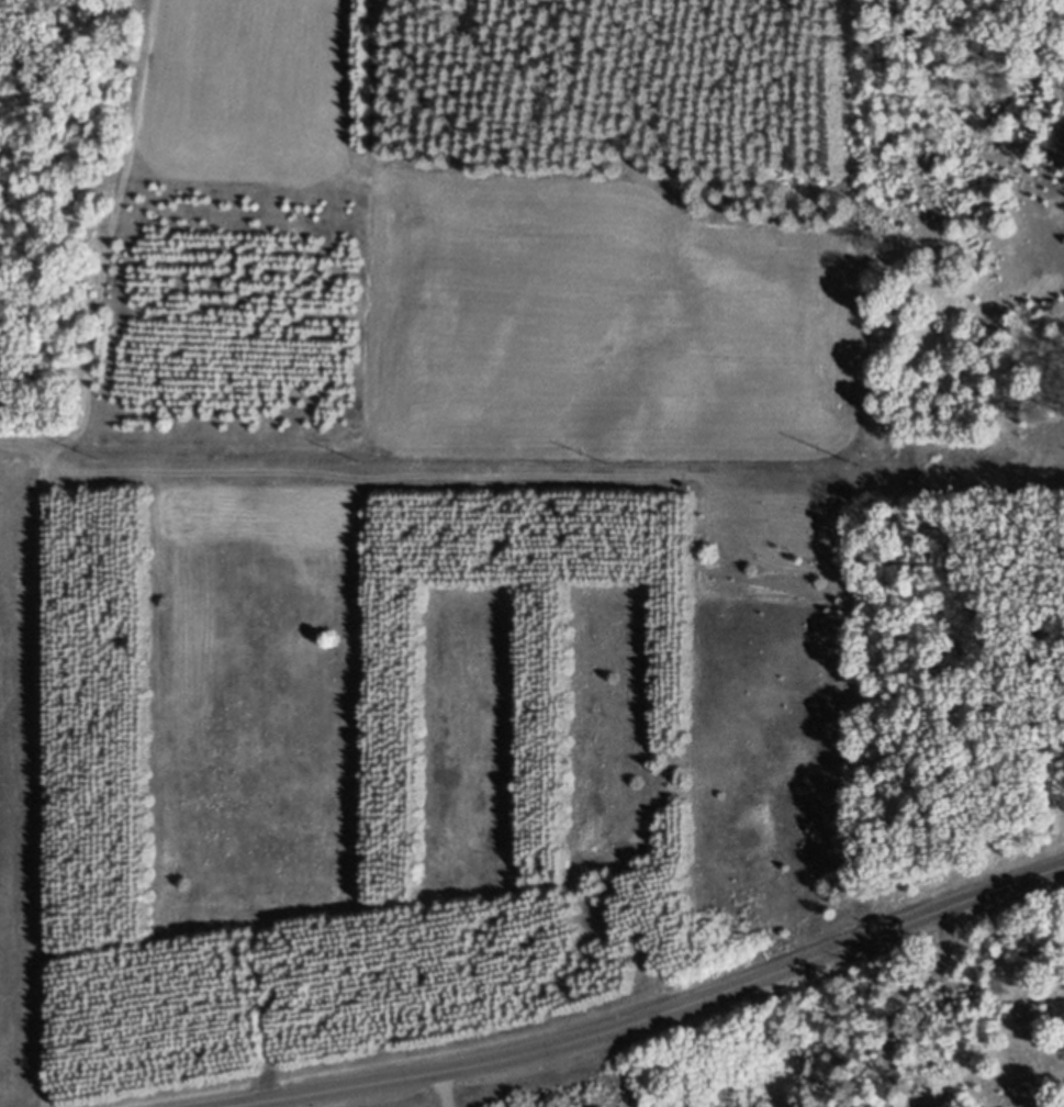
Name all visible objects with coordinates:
road: (663, 1016)
road: (438, 1091)

